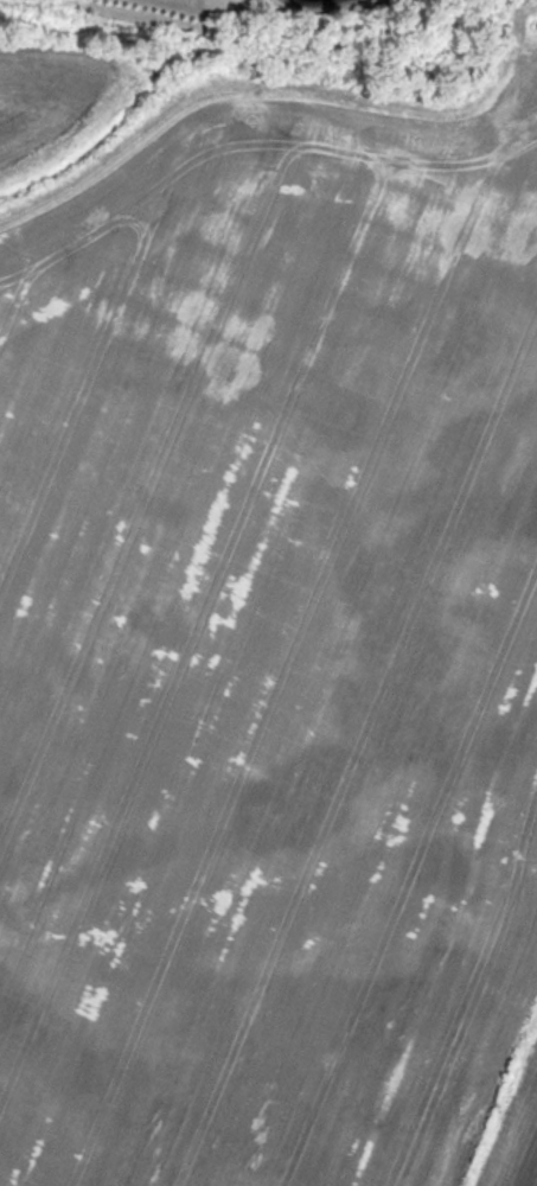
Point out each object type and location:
crop: (269, 664)

